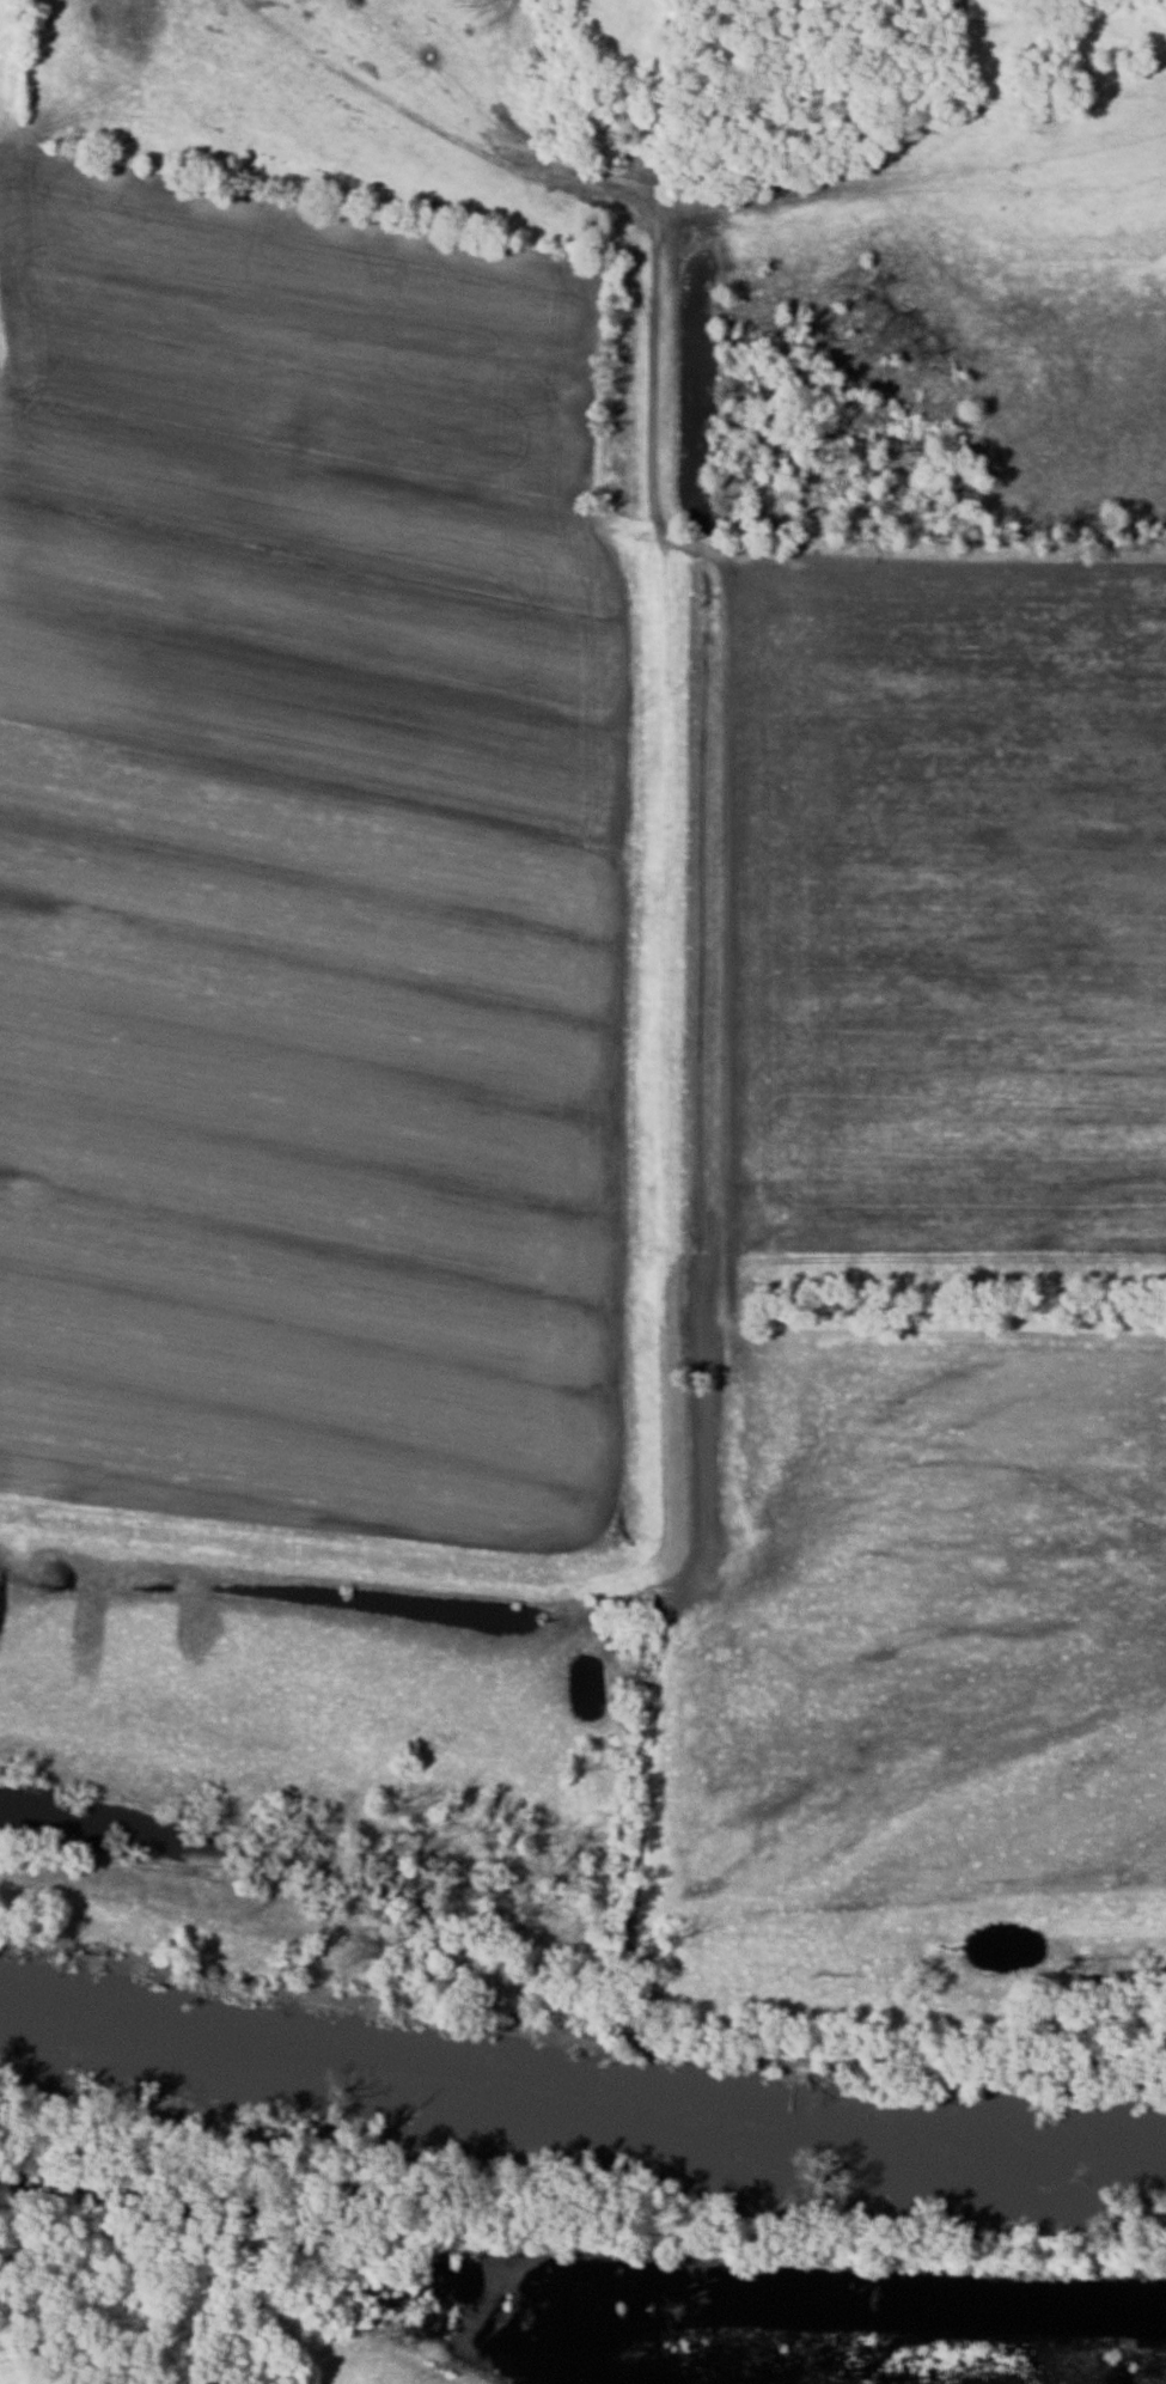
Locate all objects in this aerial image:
river: (579, 2101)

